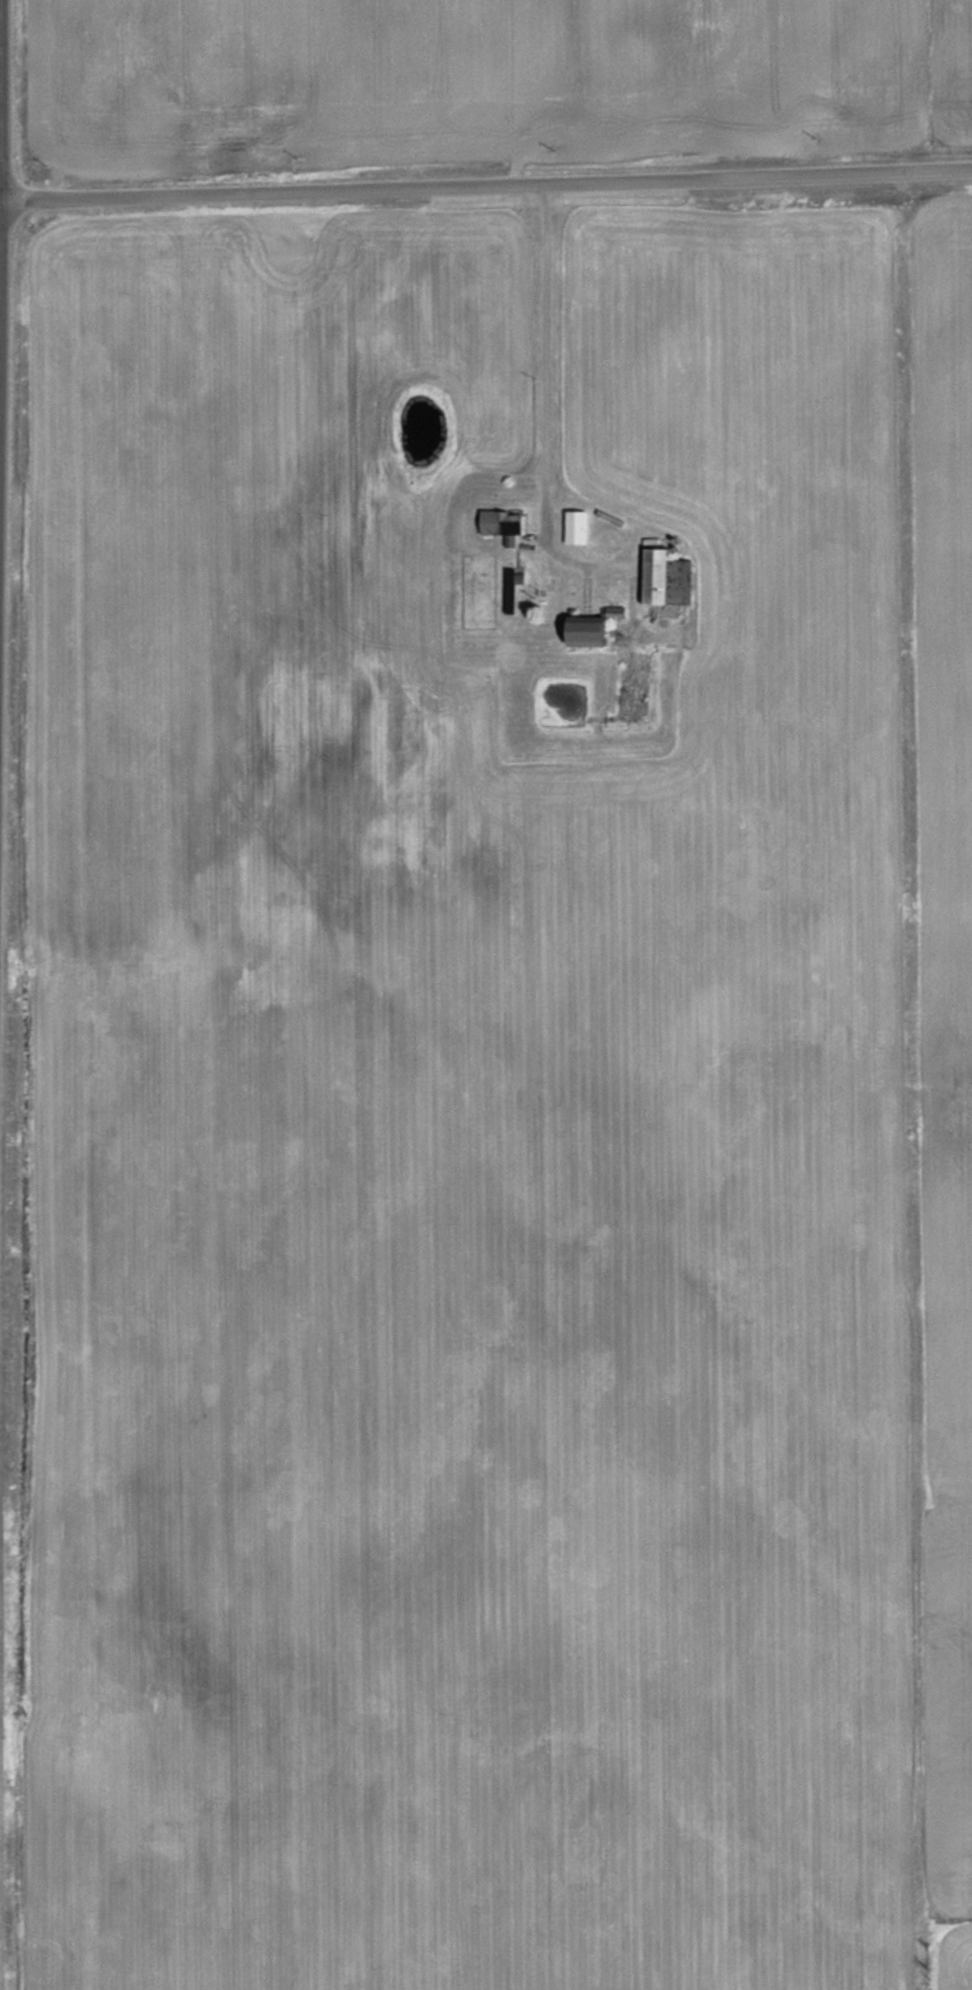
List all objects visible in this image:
road: (485, 185)
road: (541, 373)
building: (501, 525)
building: (575, 527)
building: (662, 577)
building: (512, 588)
building: (577, 631)

